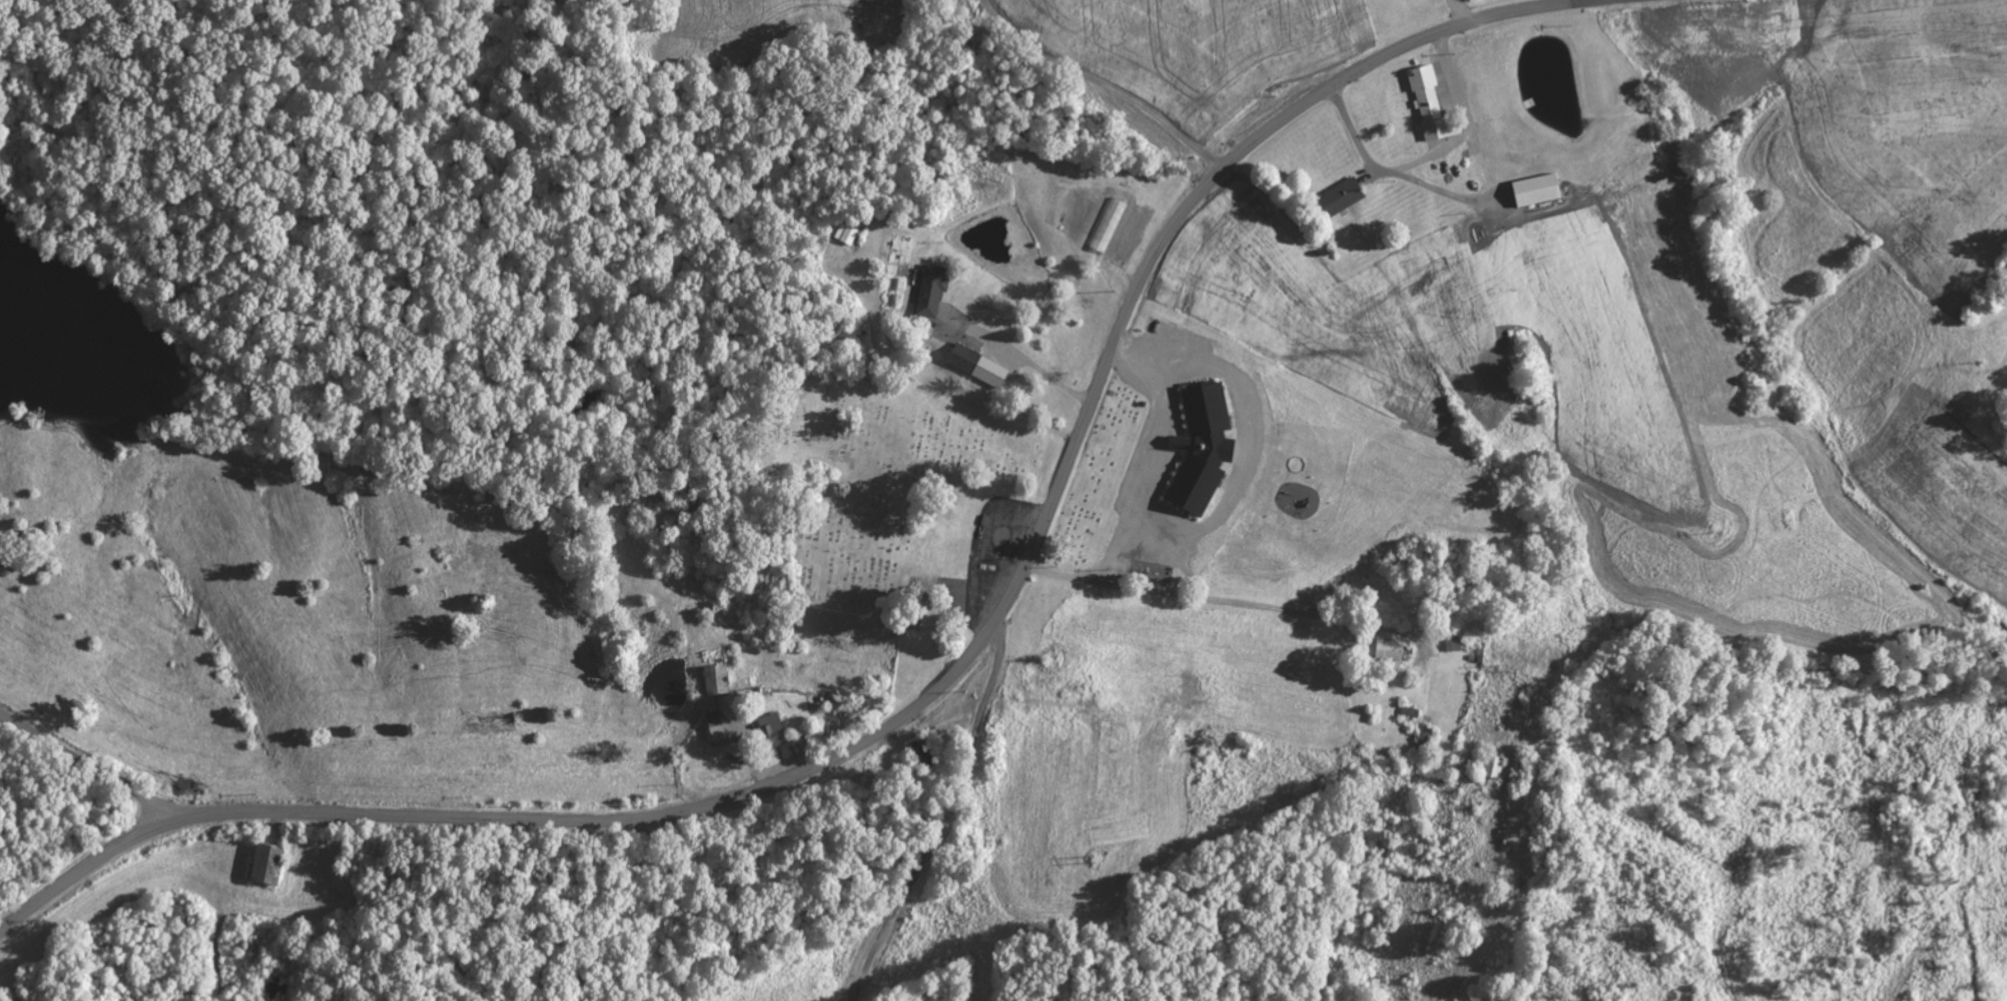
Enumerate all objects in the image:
building: (1430, 102)
building: (1541, 189)
building: (1348, 194)
building: (848, 231)
building: (932, 288)
building: (982, 365)
building: (1206, 447)
park: (876, 479)
park: (1095, 480)
building: (1396, 650)
building: (719, 678)
road: (935, 690)
building: (720, 725)
building: (776, 727)
building: (1428, 731)
road: (87, 764)
building: (1496, 767)
road: (949, 810)
building: (274, 863)

